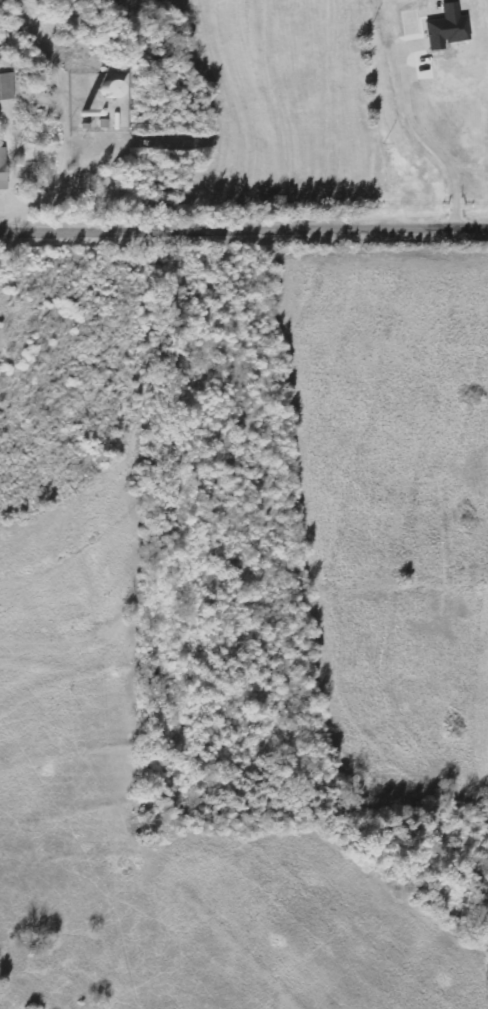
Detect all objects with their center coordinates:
building: (447, 32)
building: (6, 87)
building: (112, 90)
road: (418, 131)
building: (3, 170)
road: (61, 177)
road: (244, 225)

